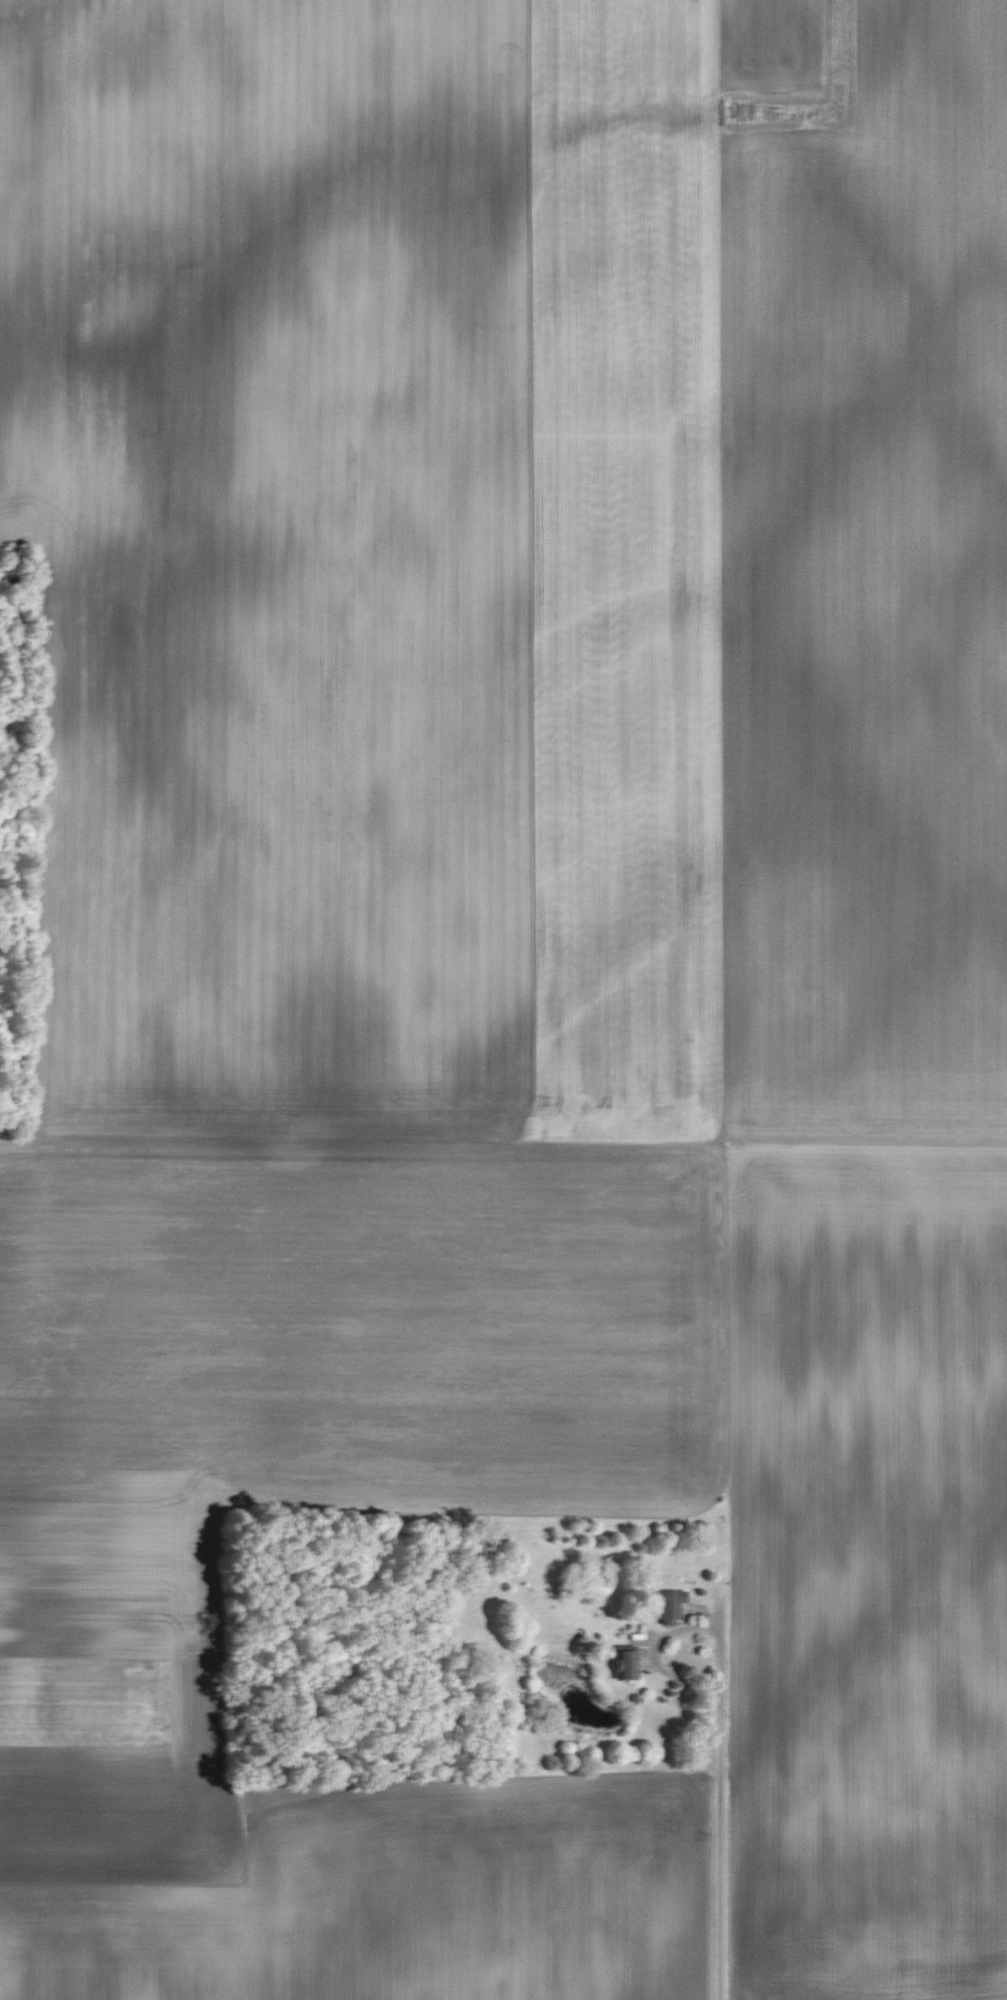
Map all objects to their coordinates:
building: (664, 1604)
road: (724, 1657)
building: (624, 1664)
road: (721, 1872)

